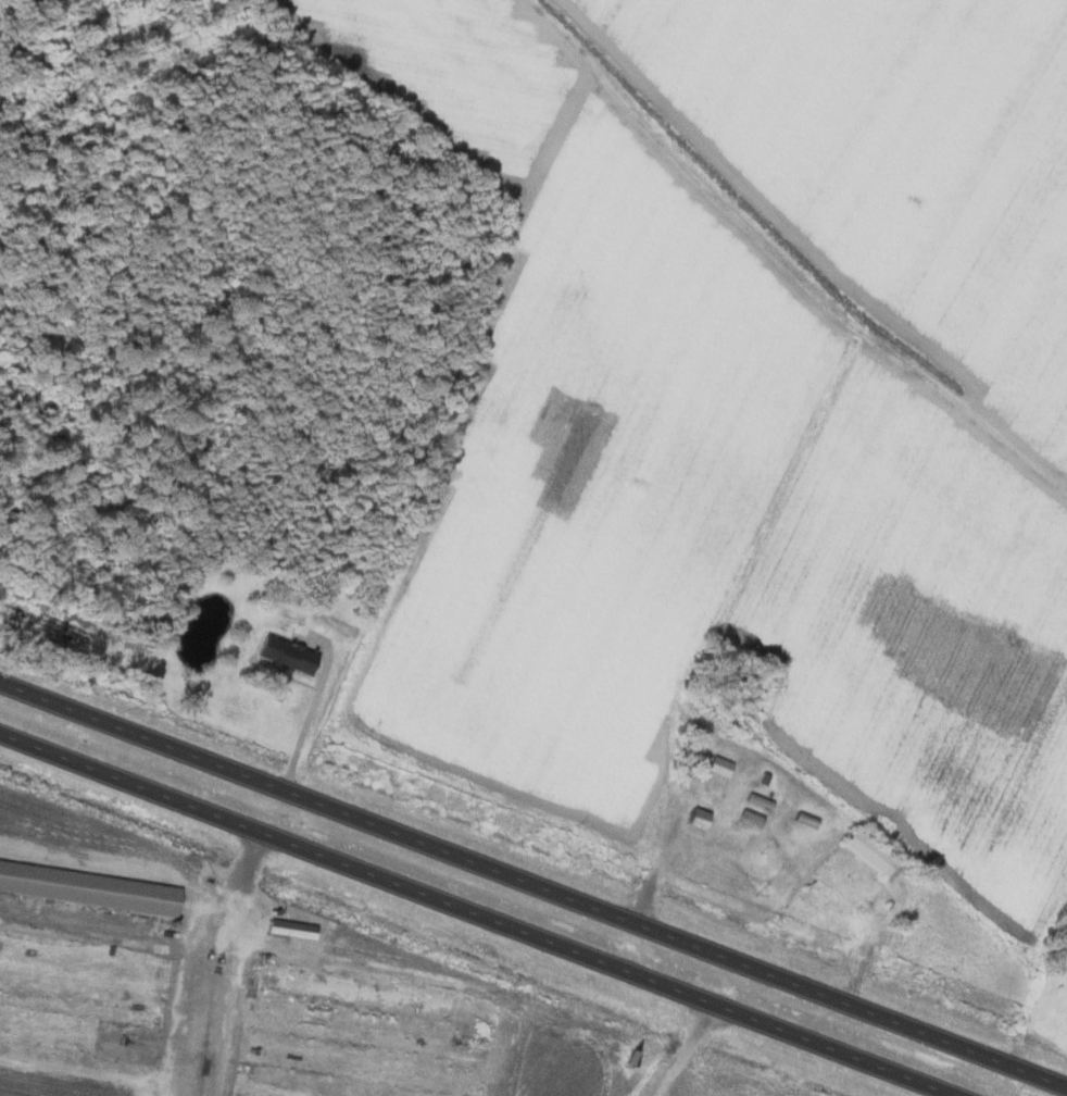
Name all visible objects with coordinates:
building: (283, 653)
building: (717, 764)
building: (693, 817)
building: (866, 851)
road: (533, 883)
building: (88, 884)
road: (478, 913)
building: (289, 925)
building: (348, 988)
road: (686, 1050)

